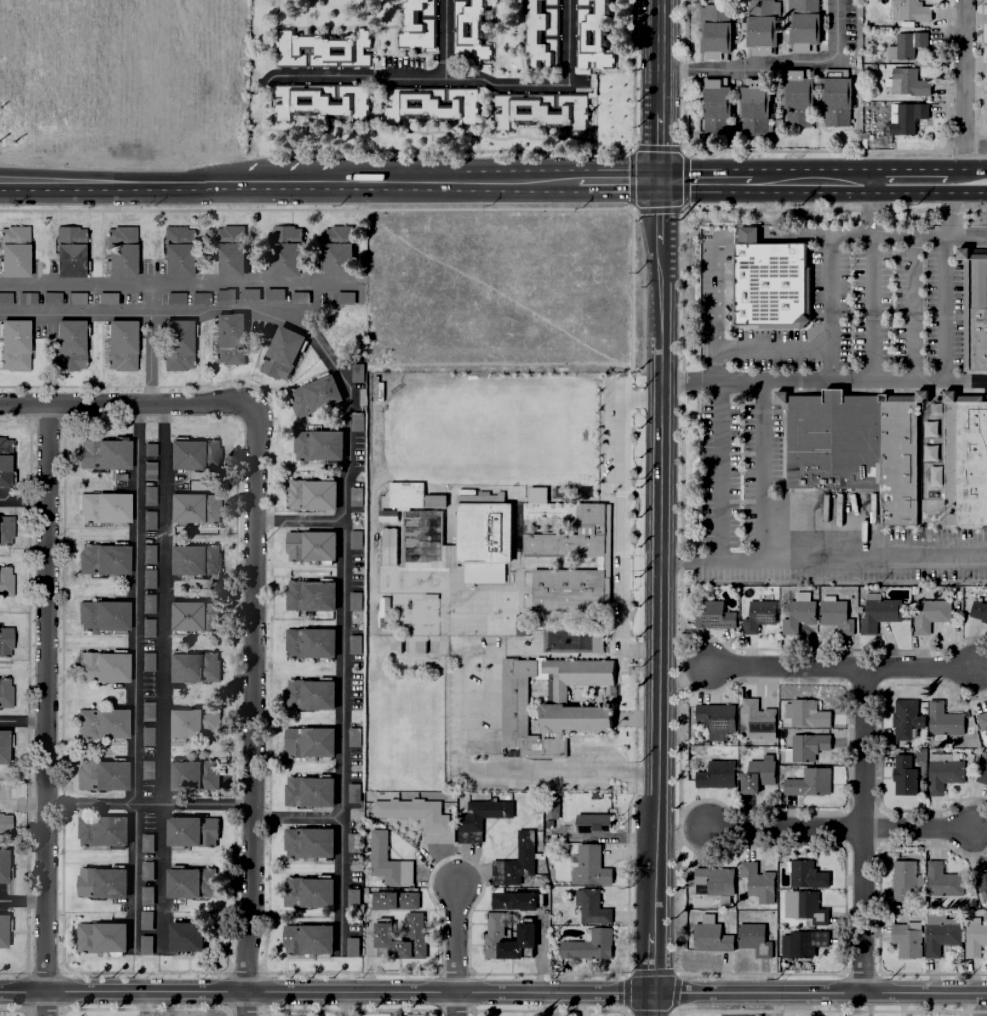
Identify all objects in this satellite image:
building: (909, 8)
building: (417, 24)
building: (801, 25)
building: (759, 26)
building: (472, 30)
building: (712, 31)
building: (542, 34)
building: (594, 34)
building: (904, 42)
building: (322, 48)
road: (775, 65)
road: (962, 74)
road: (396, 78)
building: (907, 79)
road: (547, 83)
building: (794, 96)
building: (833, 101)
building: (320, 102)
building: (428, 105)
building: (712, 106)
building: (750, 106)
building: (542, 110)
building: (905, 116)
road: (974, 147)
road: (850, 179)
road: (957, 179)
road: (974, 179)
road: (451, 180)
road: (617, 180)
traffic signals: (658, 180)
road: (704, 180)
road: (123, 181)
road: (286, 181)
road: (870, 206)
road: (951, 207)
road: (910, 234)
road: (772, 235)
road: (969, 236)
building: (12, 248)
building: (120, 248)
building: (176, 249)
building: (227, 249)
building: (284, 249)
building: (68, 250)
building: (335, 250)
road: (168, 282)
building: (768, 284)
road: (827, 287)
building: (222, 292)
building: (272, 292)
building: (247, 293)
building: (49, 295)
building: (74, 295)
building: (5, 296)
building: (25, 296)
building: (105, 296)
road: (149, 296)
building: (174, 296)
building: (199, 296)
building: (297, 296)
building: (343, 296)
road: (870, 308)
road: (913, 309)
road: (942, 309)
parking lot: (860, 315)
building: (977, 315)
building: (228, 339)
building: (14, 341)
building: (122, 344)
building: (180, 344)
building: (73, 346)
road: (773, 350)
building: (280, 351)
road: (149, 357)
building: (356, 371)
road: (821, 382)
building: (311, 393)
road: (636, 397)
road: (718, 397)
building: (899, 398)
road: (127, 404)
building: (933, 407)
building: (354, 419)
building: (928, 427)
building: (315, 442)
building: (832, 442)
building: (148, 447)
building: (102, 451)
building: (192, 451)
building: (927, 451)
parking lot: (739, 462)
building: (896, 462)
building: (971, 463)
building: (148, 468)
building: (4, 471)
road: (762, 471)
building: (933, 474)
road: (342, 478)
building: (308, 491)
building: (403, 492)
building: (148, 493)
building: (354, 495)
road: (24, 498)
building: (435, 499)
building: (193, 504)
building: (102, 505)
road: (655, 508)
building: (387, 515)
building: (147, 518)
road: (297, 522)
building: (6, 530)
building: (593, 531)
road: (617, 532)
building: (483, 534)
building: (423, 536)
building: (353, 538)
building: (307, 543)
building: (390, 545)
building: (148, 551)
building: (102, 556)
building: (191, 557)
road: (821, 560)
building: (482, 574)
building: (147, 576)
building: (6, 582)
building: (568, 589)
building: (307, 592)
building: (353, 600)
building: (147, 601)
building: (978, 609)
building: (796, 611)
building: (101, 612)
building: (928, 612)
building: (190, 613)
building: (833, 613)
building: (710, 614)
building: (756, 615)
building: (879, 616)
building: (147, 626)
building: (5, 639)
building: (595, 639)
building: (308, 640)
building: (353, 643)
road: (133, 647)
building: (146, 659)
building: (101, 664)
building: (190, 664)
road: (842, 670)
road: (160, 676)
building: (6, 692)
building: (310, 697)
building: (352, 698)
building: (549, 703)
road: (47, 709)
building: (146, 709)
road: (252, 710)
building: (804, 712)
building: (904, 717)
building: (756, 718)
building: (715, 719)
road: (23, 720)
building: (981, 721)
building: (943, 723)
building: (104, 726)
building: (194, 726)
road: (464, 731)
building: (145, 733)
building: (351, 735)
building: (3, 740)
building: (308, 744)
building: (804, 745)
building: (145, 766)
building: (981, 768)
building: (756, 772)
building: (902, 773)
building: (714, 774)
building: (943, 774)
building: (100, 775)
building: (191, 777)
building: (805, 779)
building: (351, 791)
building: (309, 796)
road: (192, 804)
road: (23, 805)
road: (296, 818)
building: (478, 818)
building: (5, 821)
building: (434, 822)
building: (591, 823)
road: (840, 828)
road: (862, 832)
building: (103, 833)
building: (189, 833)
building: (351, 841)
building: (145, 842)
building: (307, 844)
building: (385, 861)
building: (514, 861)
building: (3, 866)
building: (588, 867)
building: (145, 869)
building: (803, 873)
road: (132, 875)
building: (902, 877)
building: (711, 880)
building: (941, 880)
building: (756, 881)
building: (981, 881)
building: (101, 884)
building: (196, 884)
building: (144, 894)
building: (308, 894)
building: (350, 897)
road: (22, 900)
building: (511, 900)
building: (394, 901)
building: (803, 906)
building: (589, 907)
building: (144, 919)
building: (3, 931)
building: (939, 934)
building: (413, 935)
building: (492, 936)
building: (973, 936)
building: (185, 937)
building: (709, 937)
building: (904, 937)
building: (99, 938)
building: (752, 938)
building: (308, 940)
building: (801, 942)
building: (145, 943)
building: (350, 945)
building: (587, 946)
road: (455, 949)
road: (493, 993)
road: (142, 1004)
road: (340, 1004)
road: (548, 1004)
road: (775, 1004)

